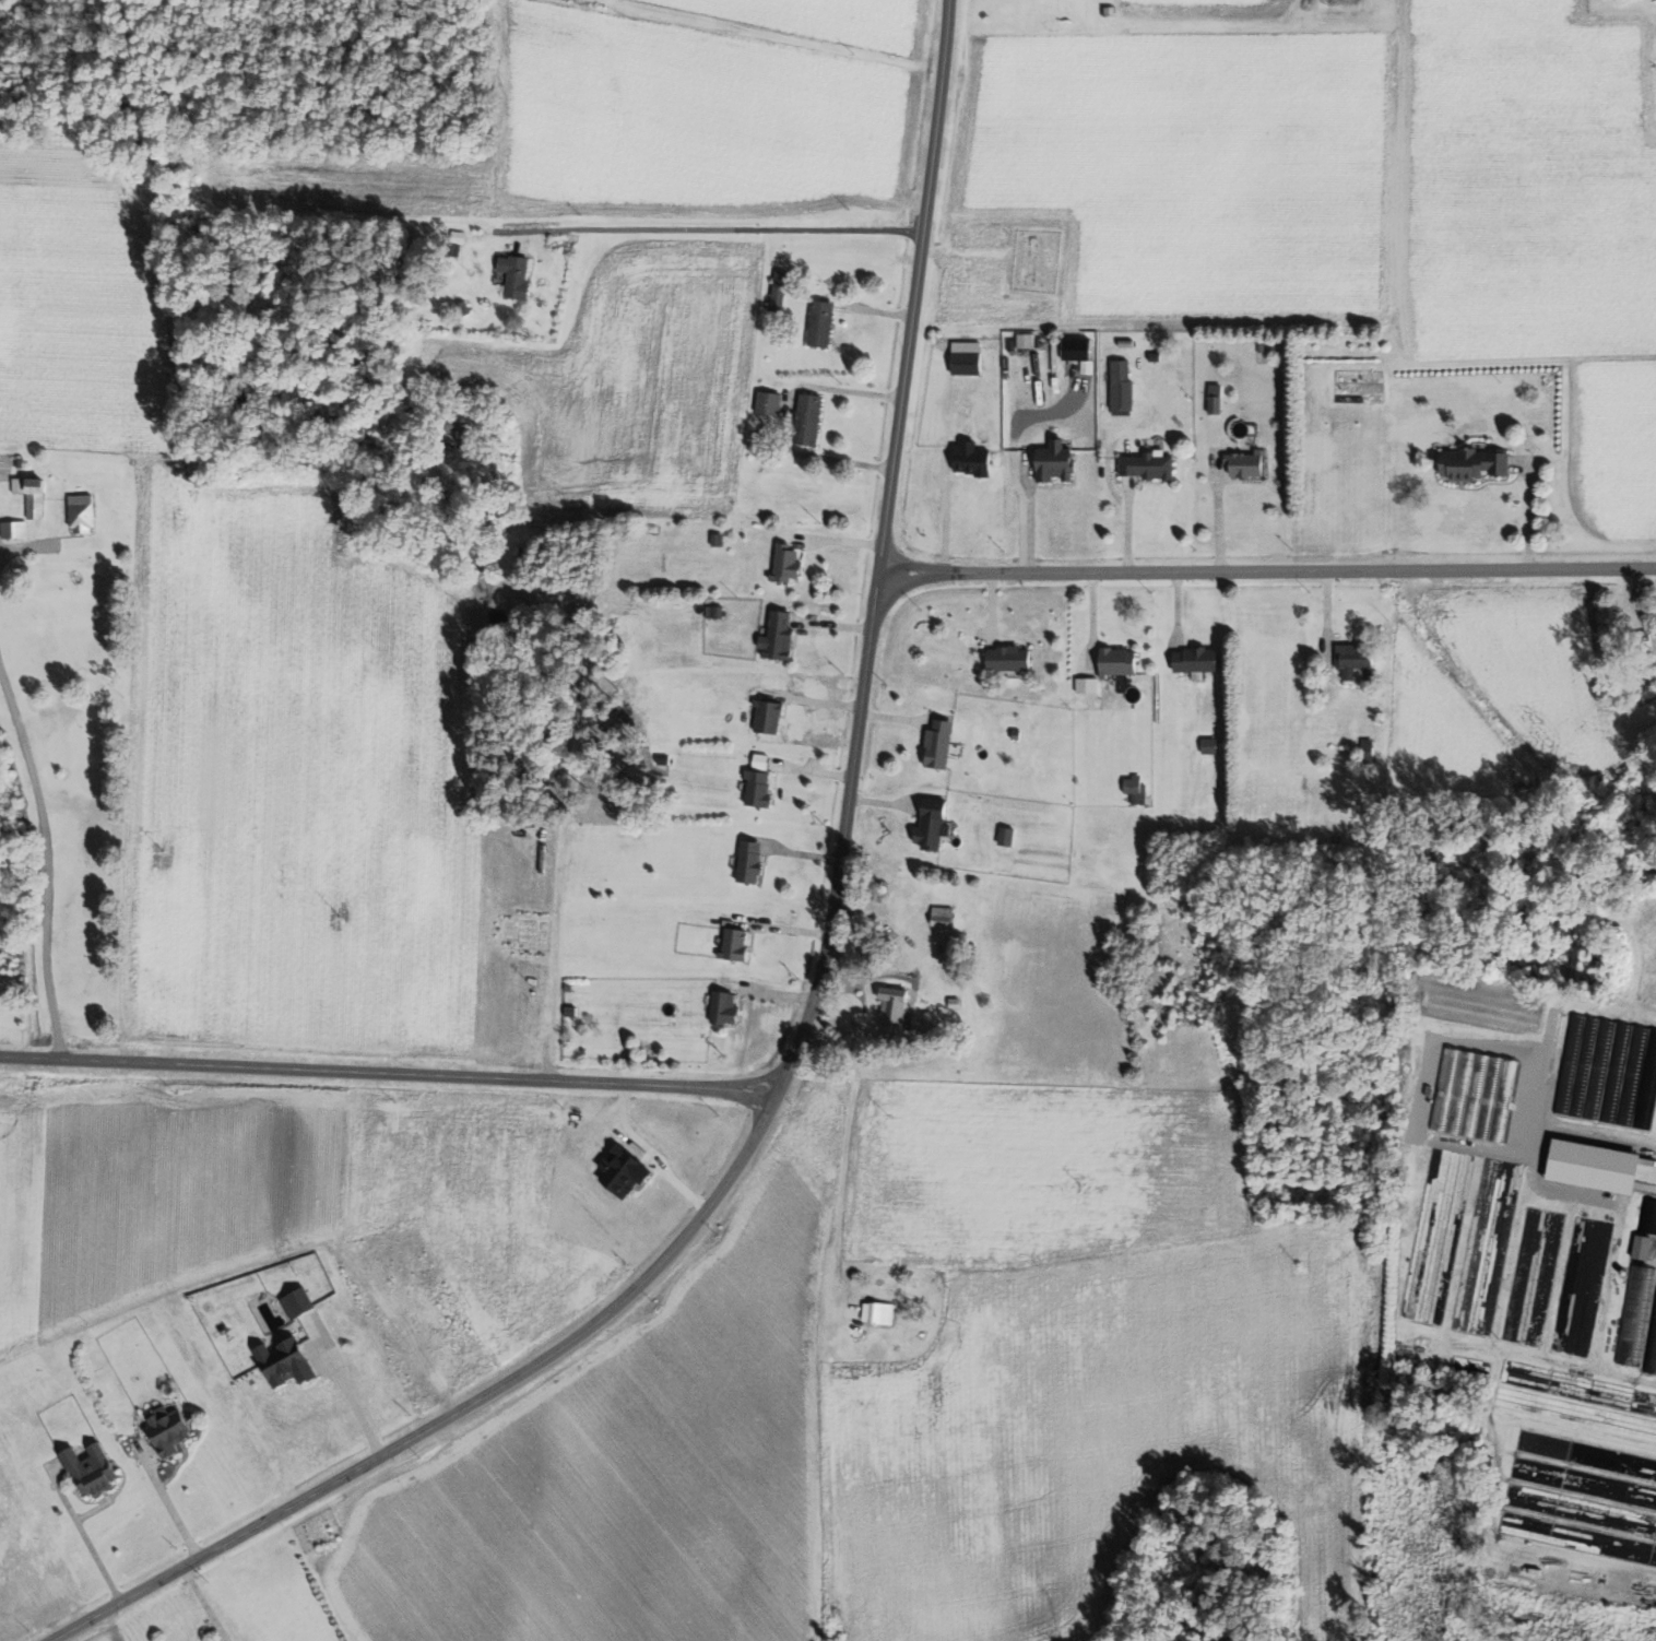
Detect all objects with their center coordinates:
crop: (1312, 184)
road: (709, 229)
road: (967, 252)
park: (1034, 260)
building: (519, 274)
building: (774, 292)
building: (816, 323)
building: (938, 344)
building: (1010, 345)
building: (1259, 347)
building: (1071, 349)
building: (1154, 357)
road: (1527, 361)
building: (963, 363)
building: (1119, 386)
building: (764, 403)
building: (1211, 404)
building: (803, 420)
crop: (1617, 448)
building: (1052, 460)
building: (970, 461)
building: (1469, 463)
building: (1242, 464)
building: (1146, 465)
building: (20, 484)
building: (37, 496)
road: (945, 510)
road: (1218, 510)
building: (82, 512)
road: (1027, 512)
road: (1528, 513)
road: (886, 517)
road: (1127, 524)
building: (14, 529)
building: (714, 540)
road: (839, 542)
road: (23, 545)
building: (784, 564)
road: (1267, 570)
road: (991, 606)
road: (1175, 606)
road: (1325, 610)
building: (715, 612)
road: (1091, 621)
road: (830, 624)
building: (774, 636)
building: (1636, 644)
building: (1006, 658)
building: (1113, 660)
building: (1195, 660)
building: (1352, 660)
building: (1645, 673)
building: (1084, 685)
crop: (1503, 697)
road: (812, 700)
building: (765, 716)
road: (894, 717)
building: (935, 744)
building: (1207, 745)
building: (1365, 751)
building: (661, 759)
road: (803, 769)
building: (755, 788)
building: (1134, 790)
road: (880, 804)
building: (930, 825)
building: (1004, 836)
road: (802, 852)
road: (46, 861)
building: (746, 862)
building: (939, 917)
road: (779, 928)
building: (732, 945)
road: (634, 985)
building: (565, 987)
road: (777, 992)
building: (567, 999)
building: (890, 1002)
building: (951, 1003)
building: (721, 1007)
building: (567, 1011)
building: (1569, 1064)
building: (1582, 1065)
building: (1598, 1070)
building: (1613, 1073)
road: (391, 1075)
building: (1631, 1075)
building: (1646, 1084)
road: (847, 1134)
building: (1590, 1168)
crop: (327, 1191)
building: (1648, 1217)
building: (1640, 1249)
building: (295, 1301)
building: (876, 1312)
building: (1635, 1315)
building: (1652, 1347)
crop: (1083, 1357)
building: (284, 1362)
road: (345, 1389)
road: (484, 1395)
building: (166, 1430)
crop: (636, 1456)
building: (86, 1471)
road: (169, 1500)
park: (318, 1528)
road: (84, 1533)
road: (204, 1604)
crop: (109, 1634)

